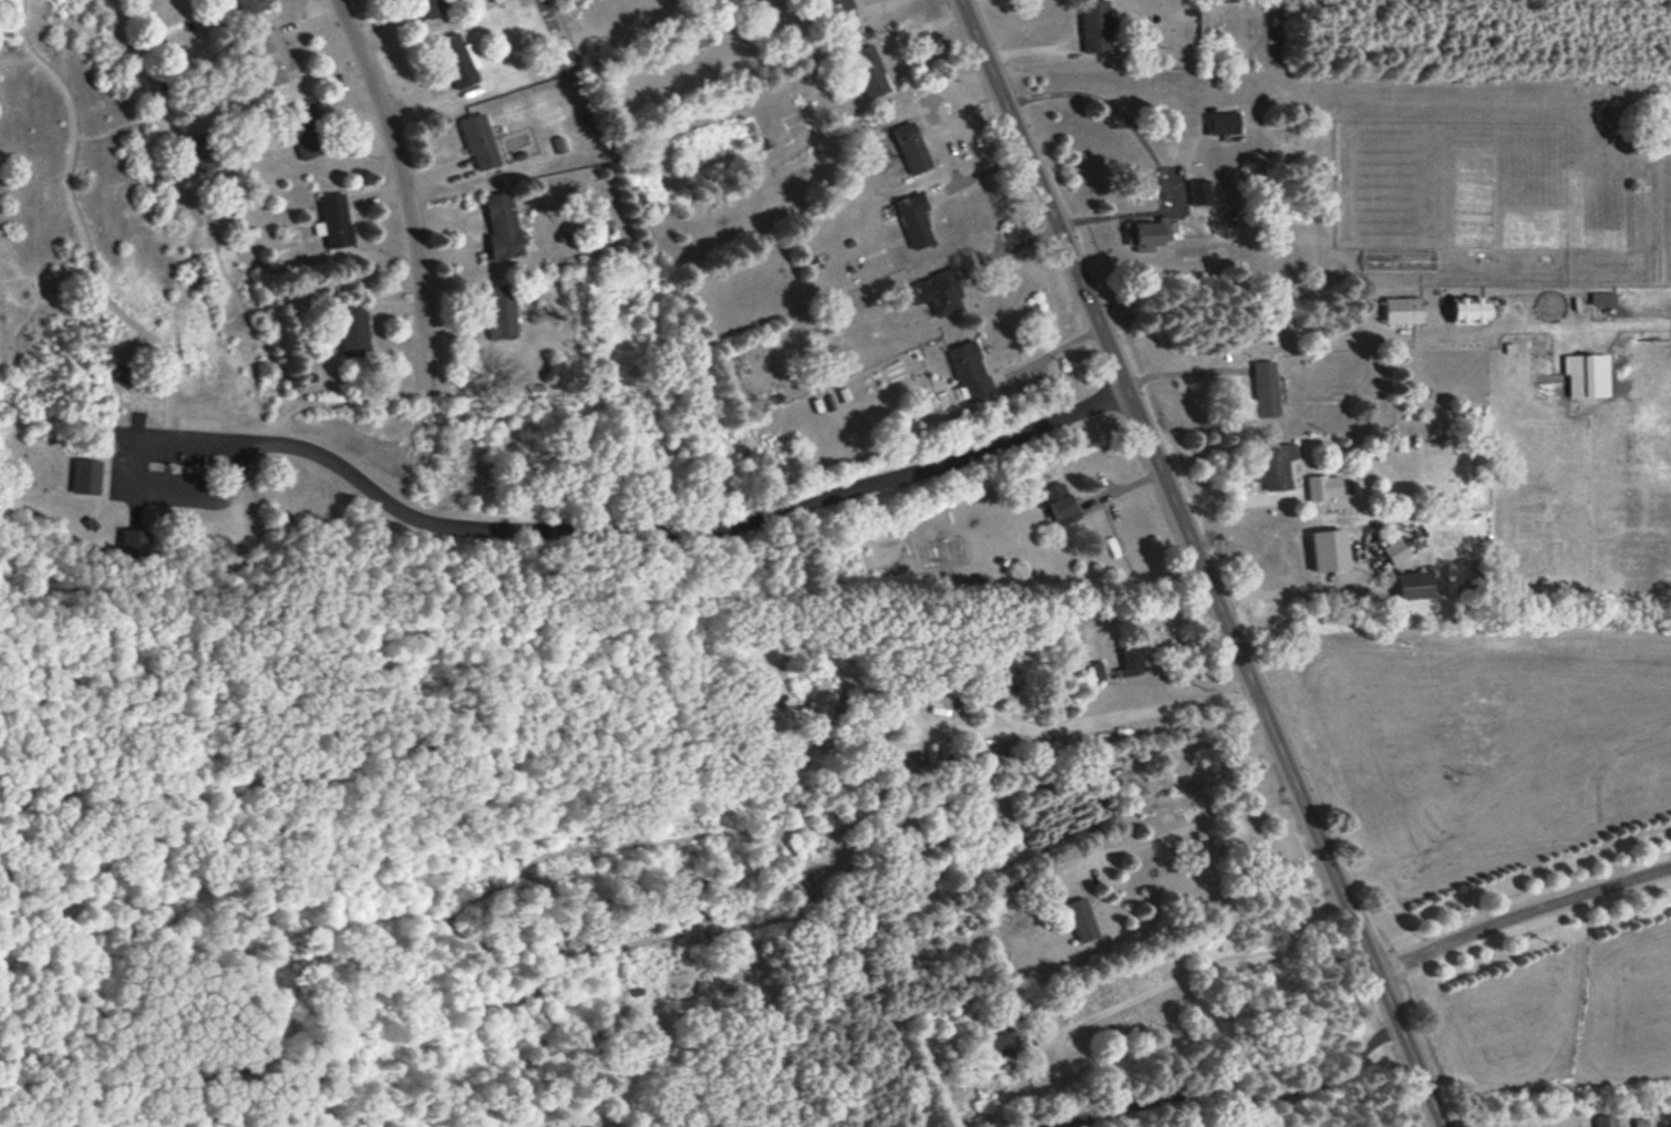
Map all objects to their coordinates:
building: (249, 6)
building: (431, 8)
building: (842, 14)
building: (1094, 25)
building: (271, 55)
building: (559, 58)
building: (457, 59)
building: (868, 71)
road: (1108, 104)
road: (948, 110)
building: (1220, 122)
building: (302, 130)
building: (477, 141)
building: (909, 147)
building: (200, 153)
road: (405, 188)
building: (1198, 192)
road: (1116, 215)
building: (333, 219)
building: (912, 219)
building: (501, 225)
building: (1145, 232)
road: (1005, 248)
building: (936, 292)
road: (1230, 307)
building: (1467, 309)
building: (1401, 310)
building: (499, 311)
building: (352, 329)
road: (1048, 352)
building: (968, 371)
building: (120, 372)
road: (1183, 372)
building: (1586, 374)
building: (1263, 387)
building: (1273, 465)
building: (84, 476)
building: (1322, 486)
road: (1237, 500)
building: (1059, 503)
road: (522, 534)
building: (132, 544)
building: (1328, 549)
building: (1395, 550)
road: (1201, 563)
building: (1412, 585)
road: (1291, 592)
road: (1141, 617)
building: (1128, 661)
park: (310, 664)
building: (1093, 671)
building: (819, 701)
road: (924, 716)
road: (1189, 825)
building: (997, 902)
building: (1080, 919)
road: (1524, 919)
road: (1203, 968)
building: (999, 1043)
road: (1235, 1097)
building: (1603, 1120)

